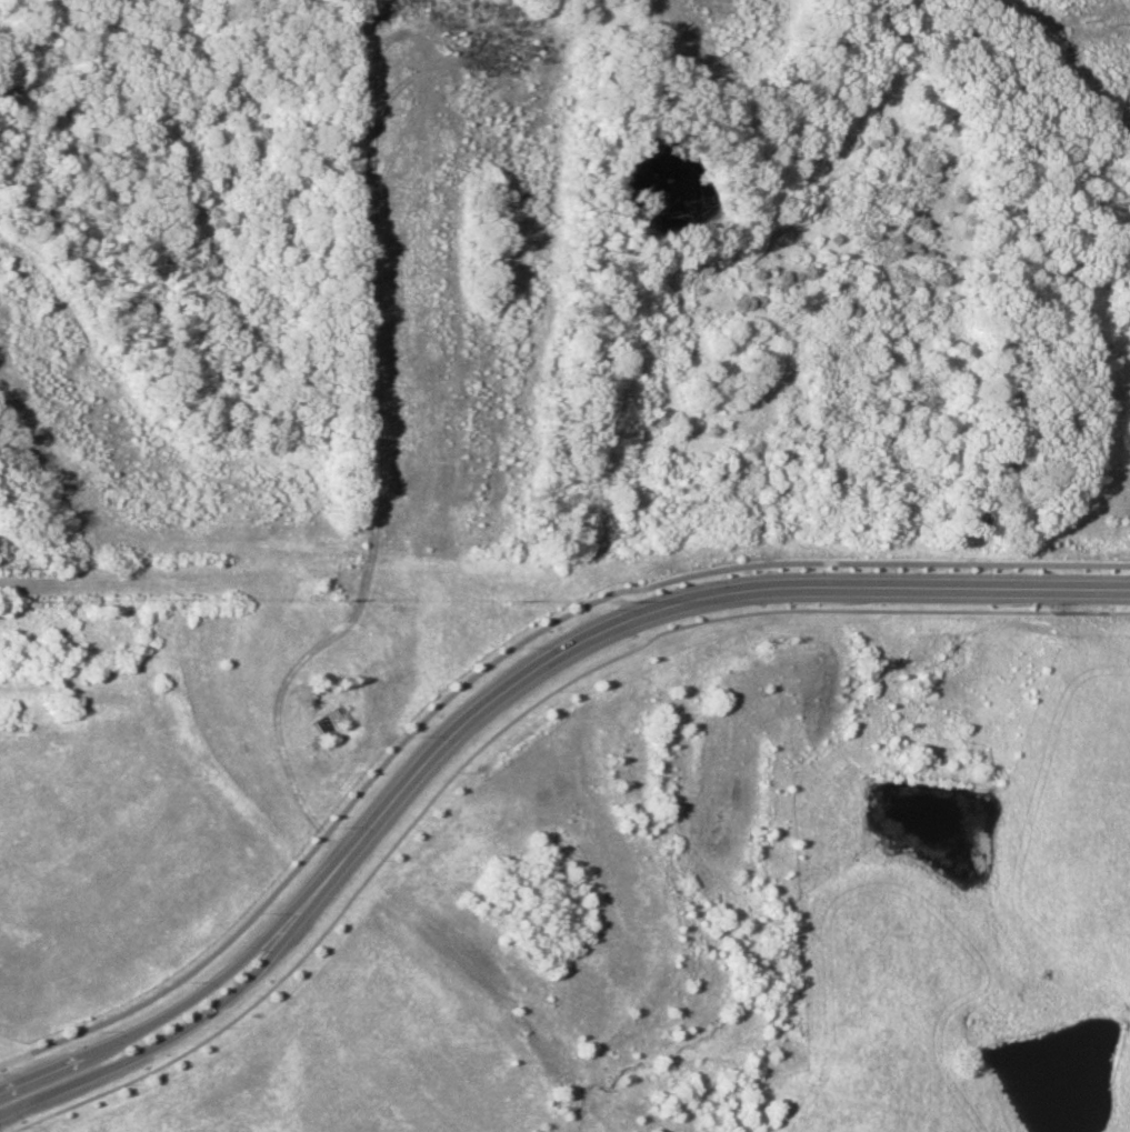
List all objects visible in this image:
road: (646, 613)
road: (150, 1021)
road: (158, 1042)

